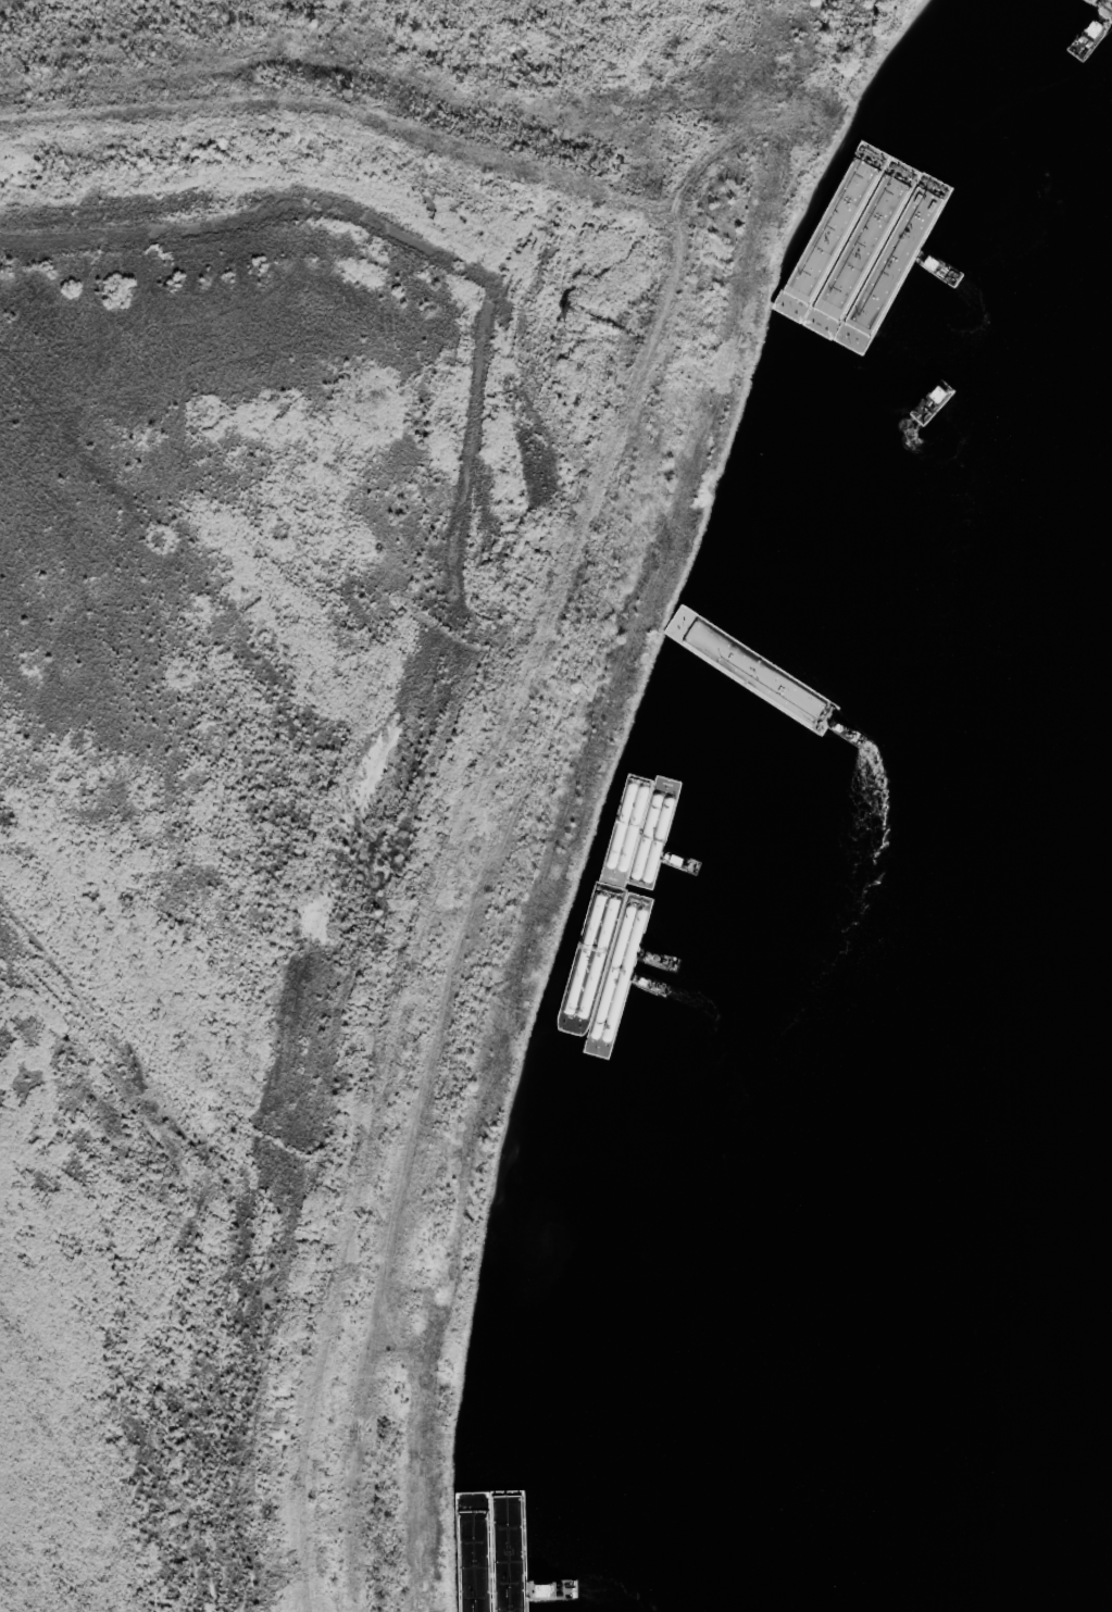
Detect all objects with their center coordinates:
landfill: (361, 727)
river: (1092, 1558)

